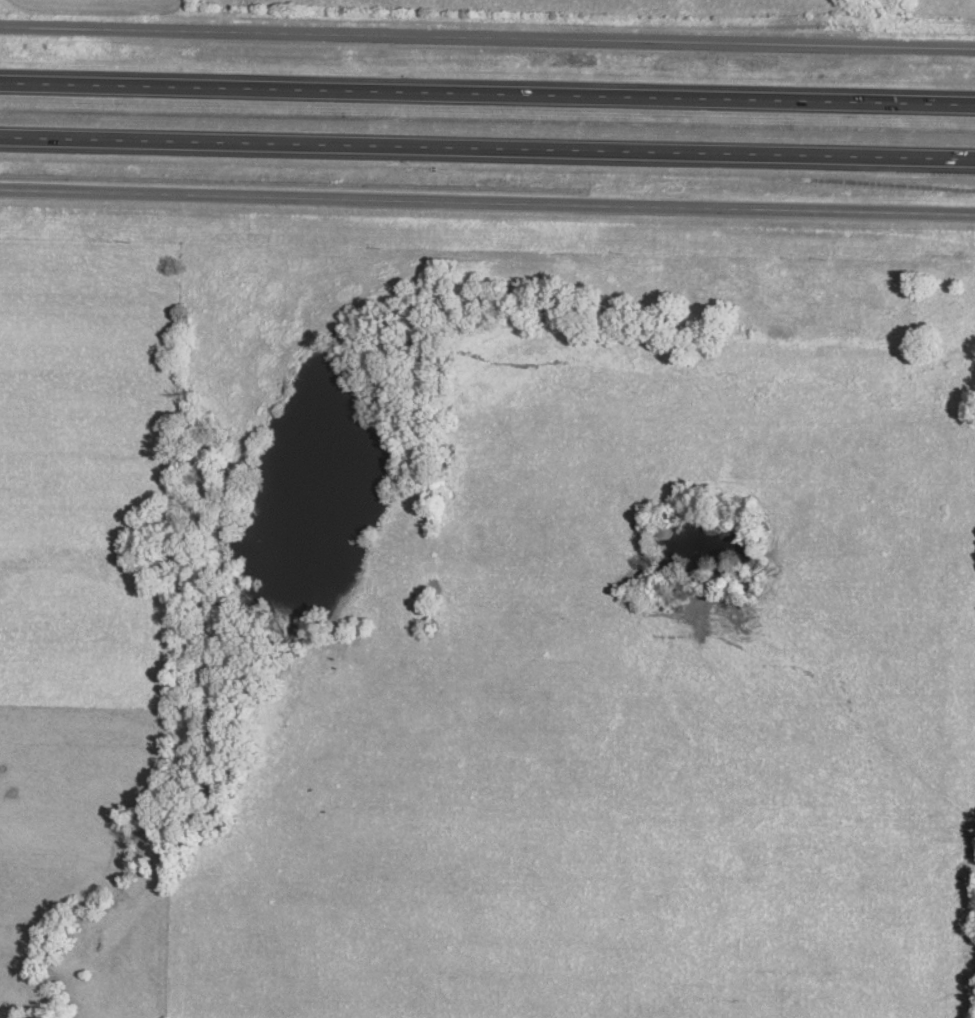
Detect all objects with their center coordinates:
road: (487, 40)
road: (487, 95)
road: (487, 150)
road: (487, 207)

